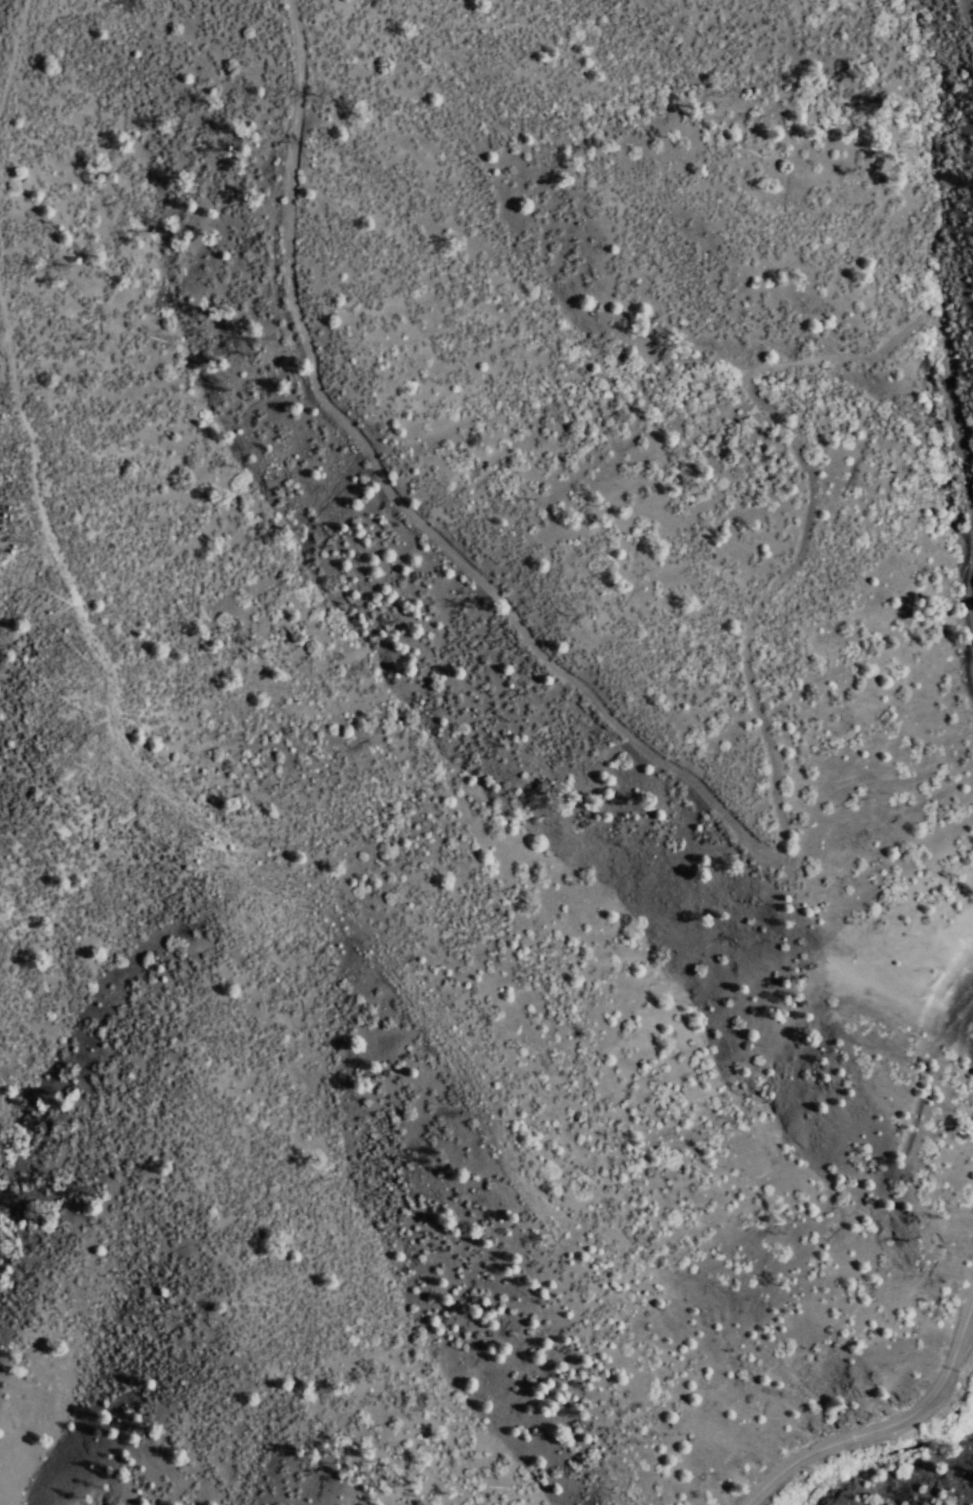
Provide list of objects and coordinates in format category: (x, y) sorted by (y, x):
road: (886, 1427)

